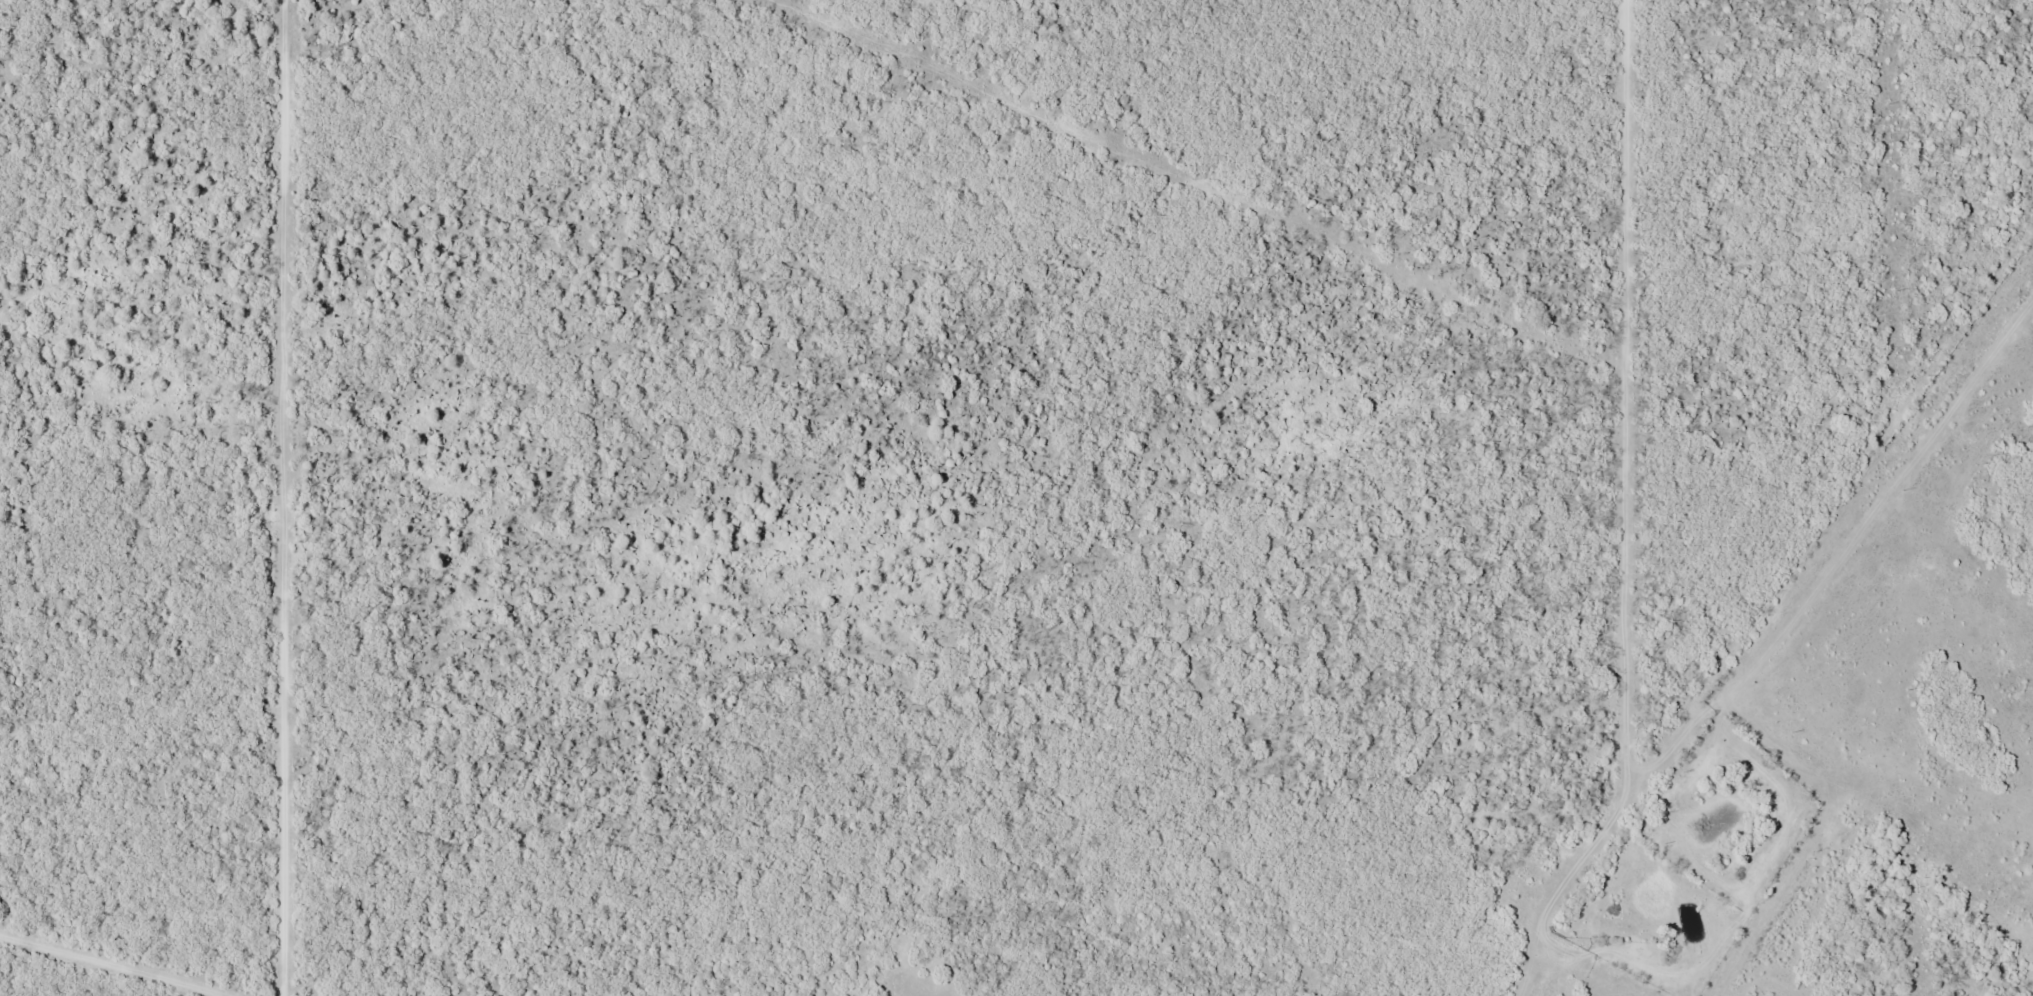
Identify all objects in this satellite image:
road: (283, 498)
road: (1643, 511)
road: (1386, 886)
road: (110, 965)

